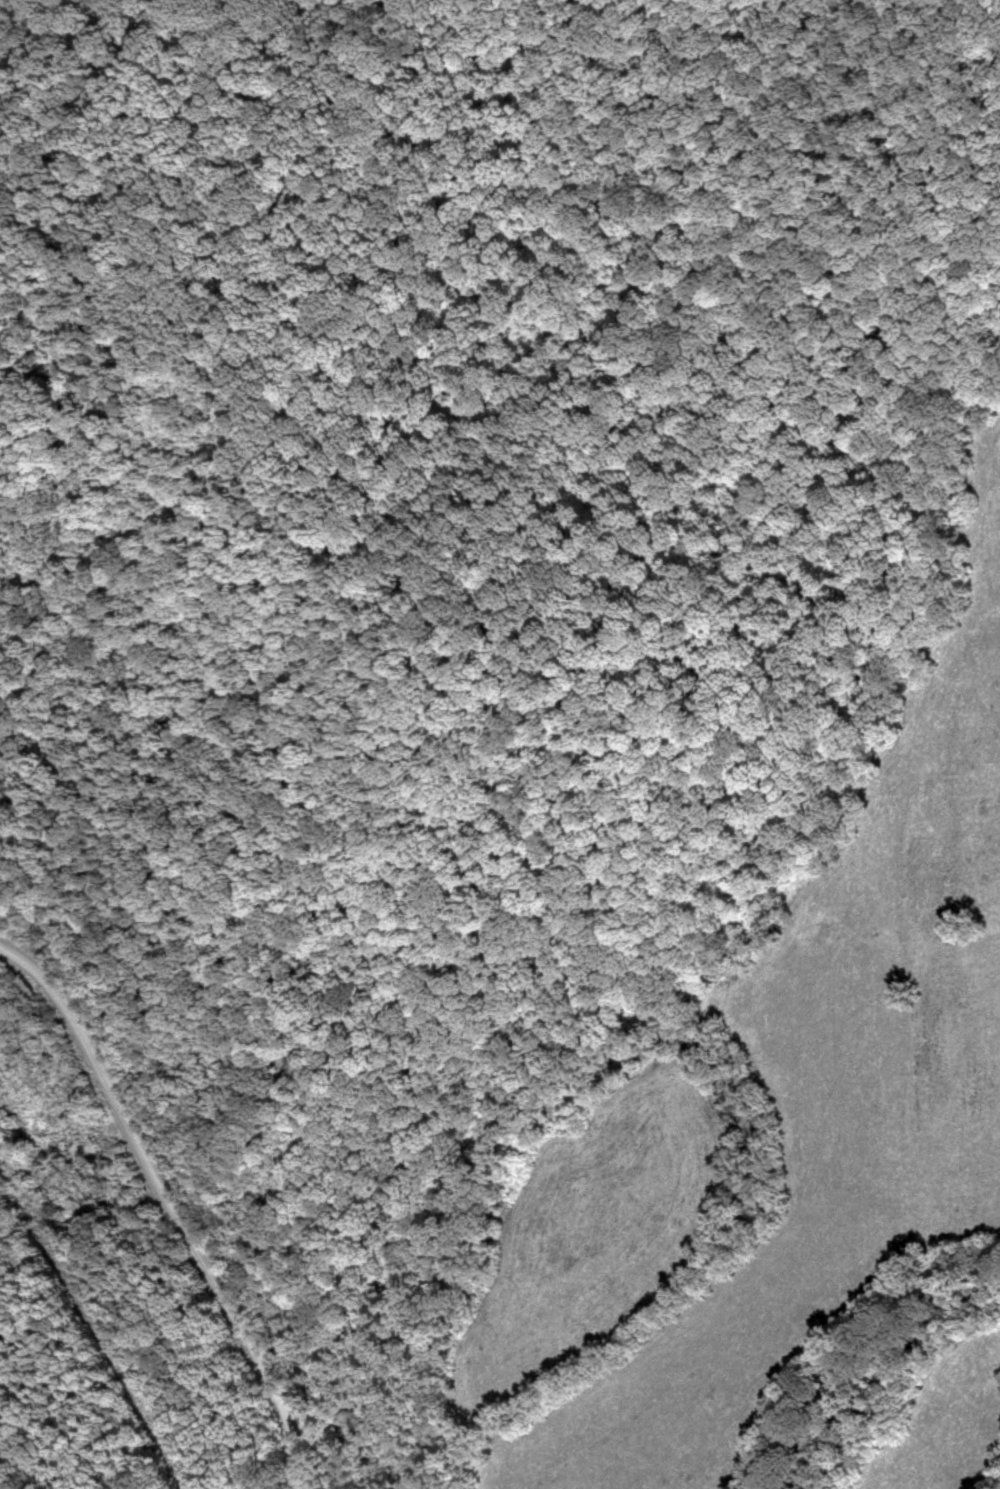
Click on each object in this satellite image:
road: (174, 1205)

